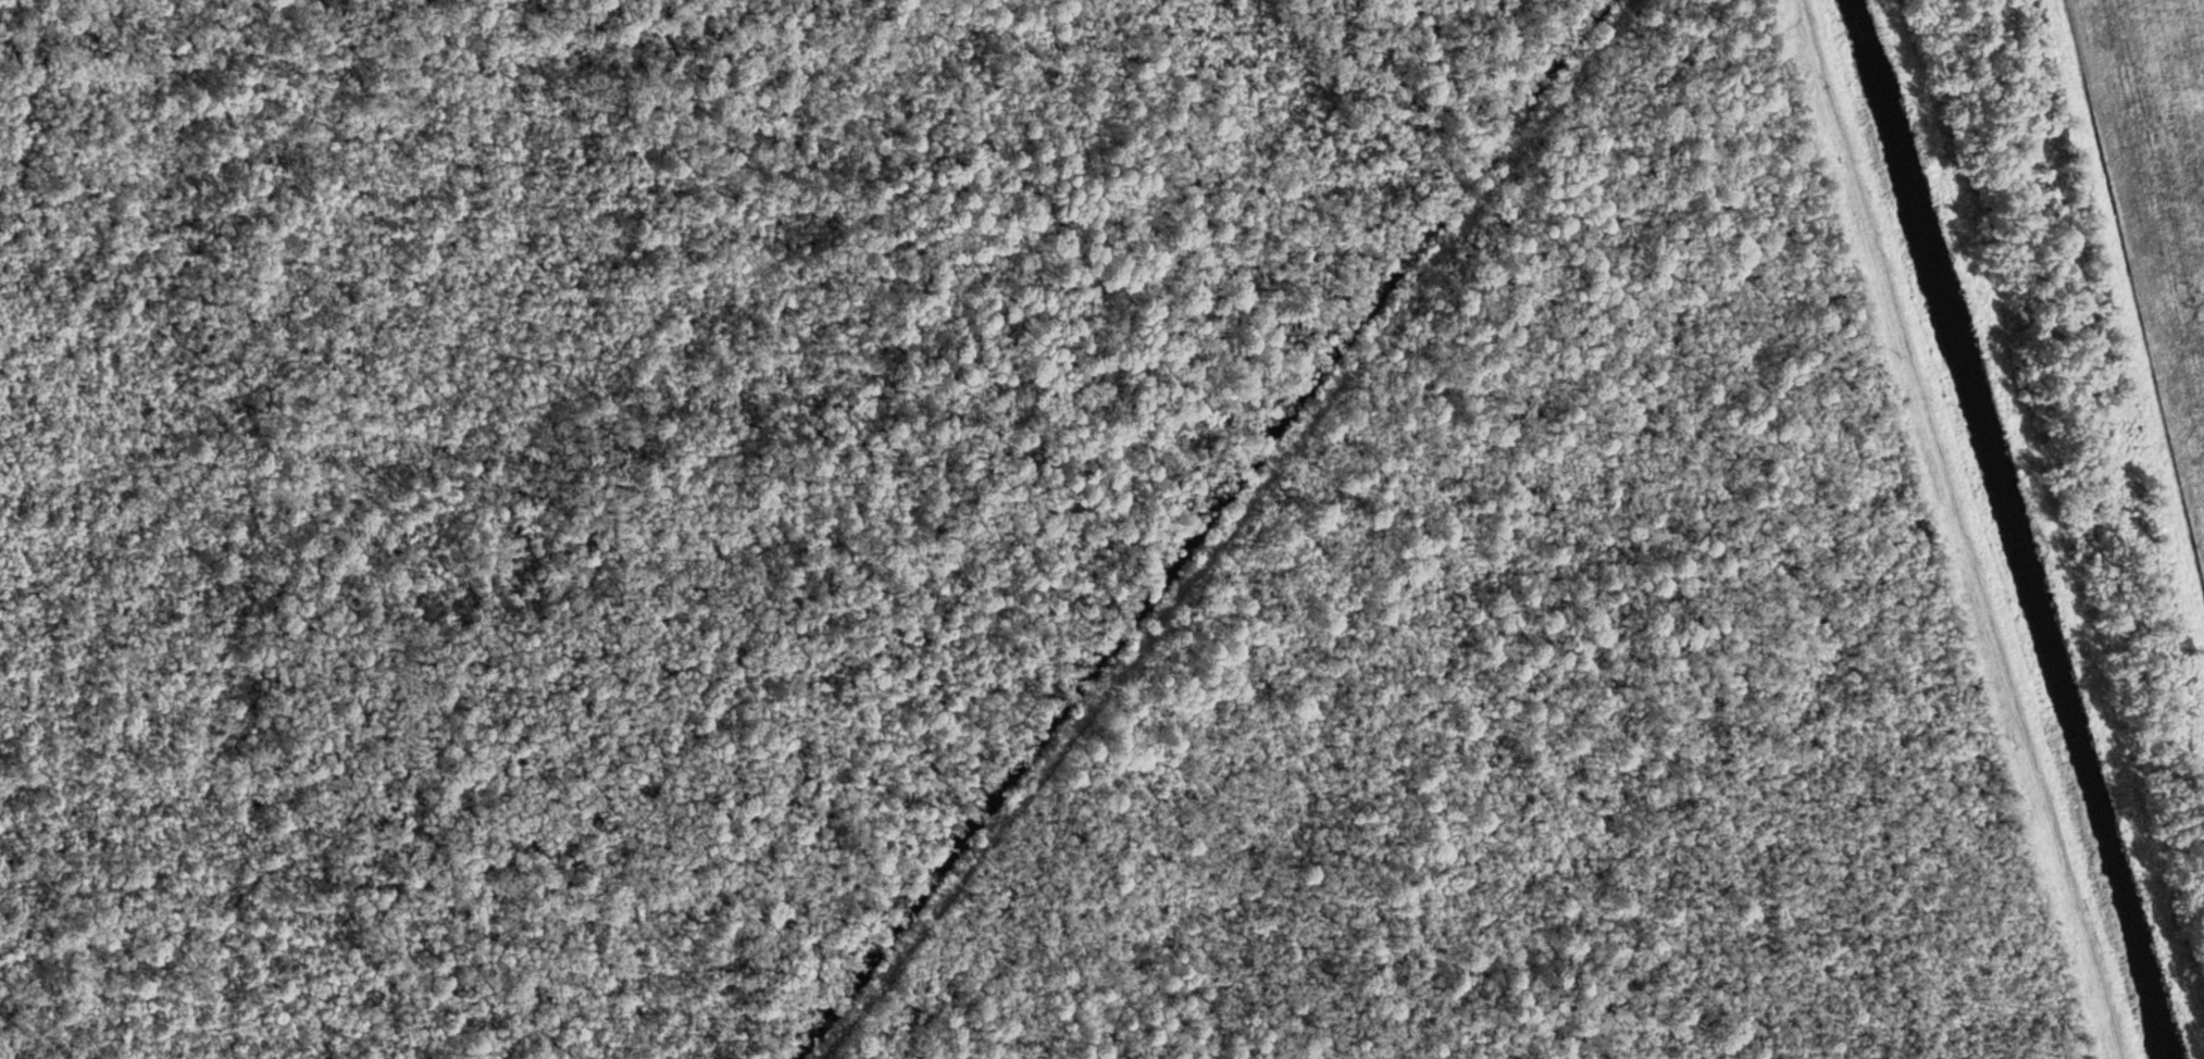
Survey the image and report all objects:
crop: (2157, 199)
road: (1964, 529)

